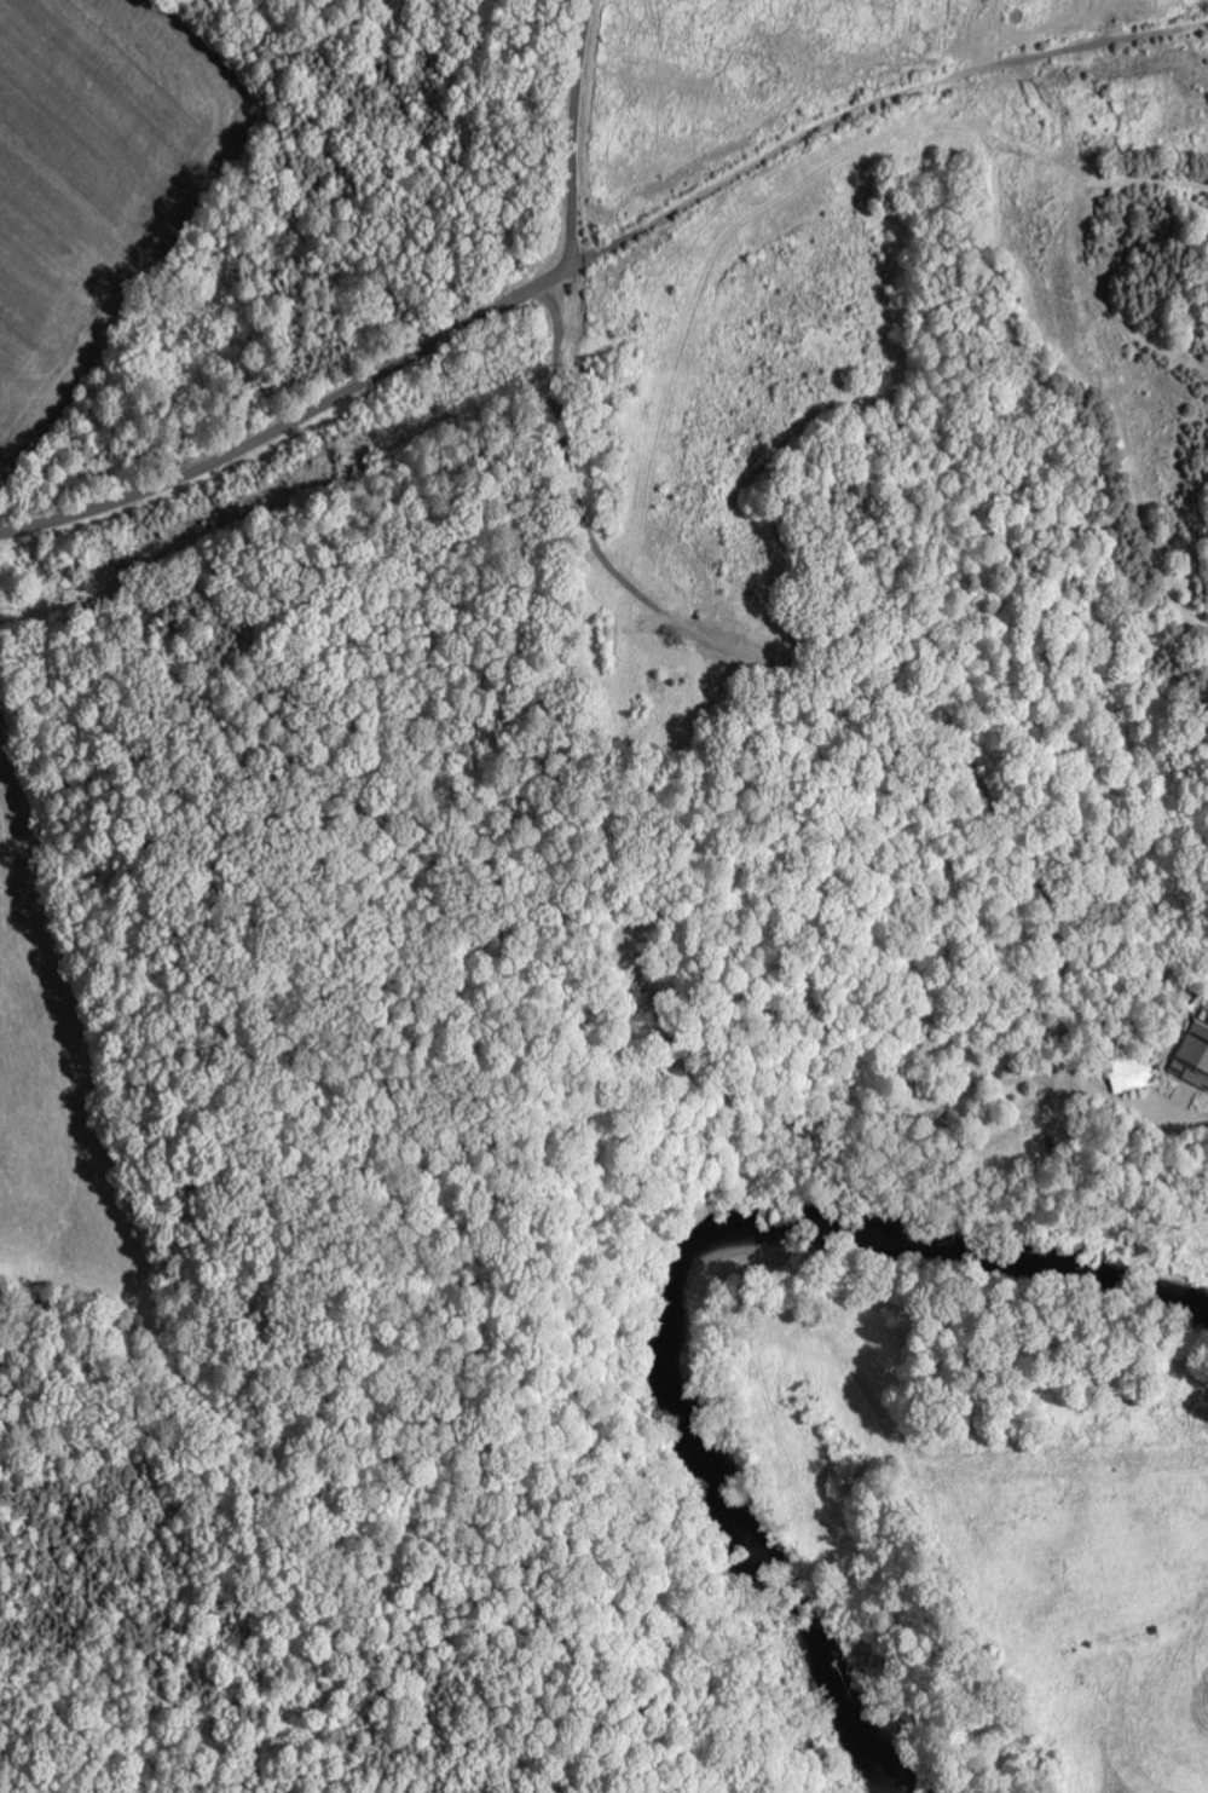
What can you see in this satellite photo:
road: (877, 108)
road: (574, 133)
road: (570, 385)
road: (296, 421)
building: (1192, 1056)

